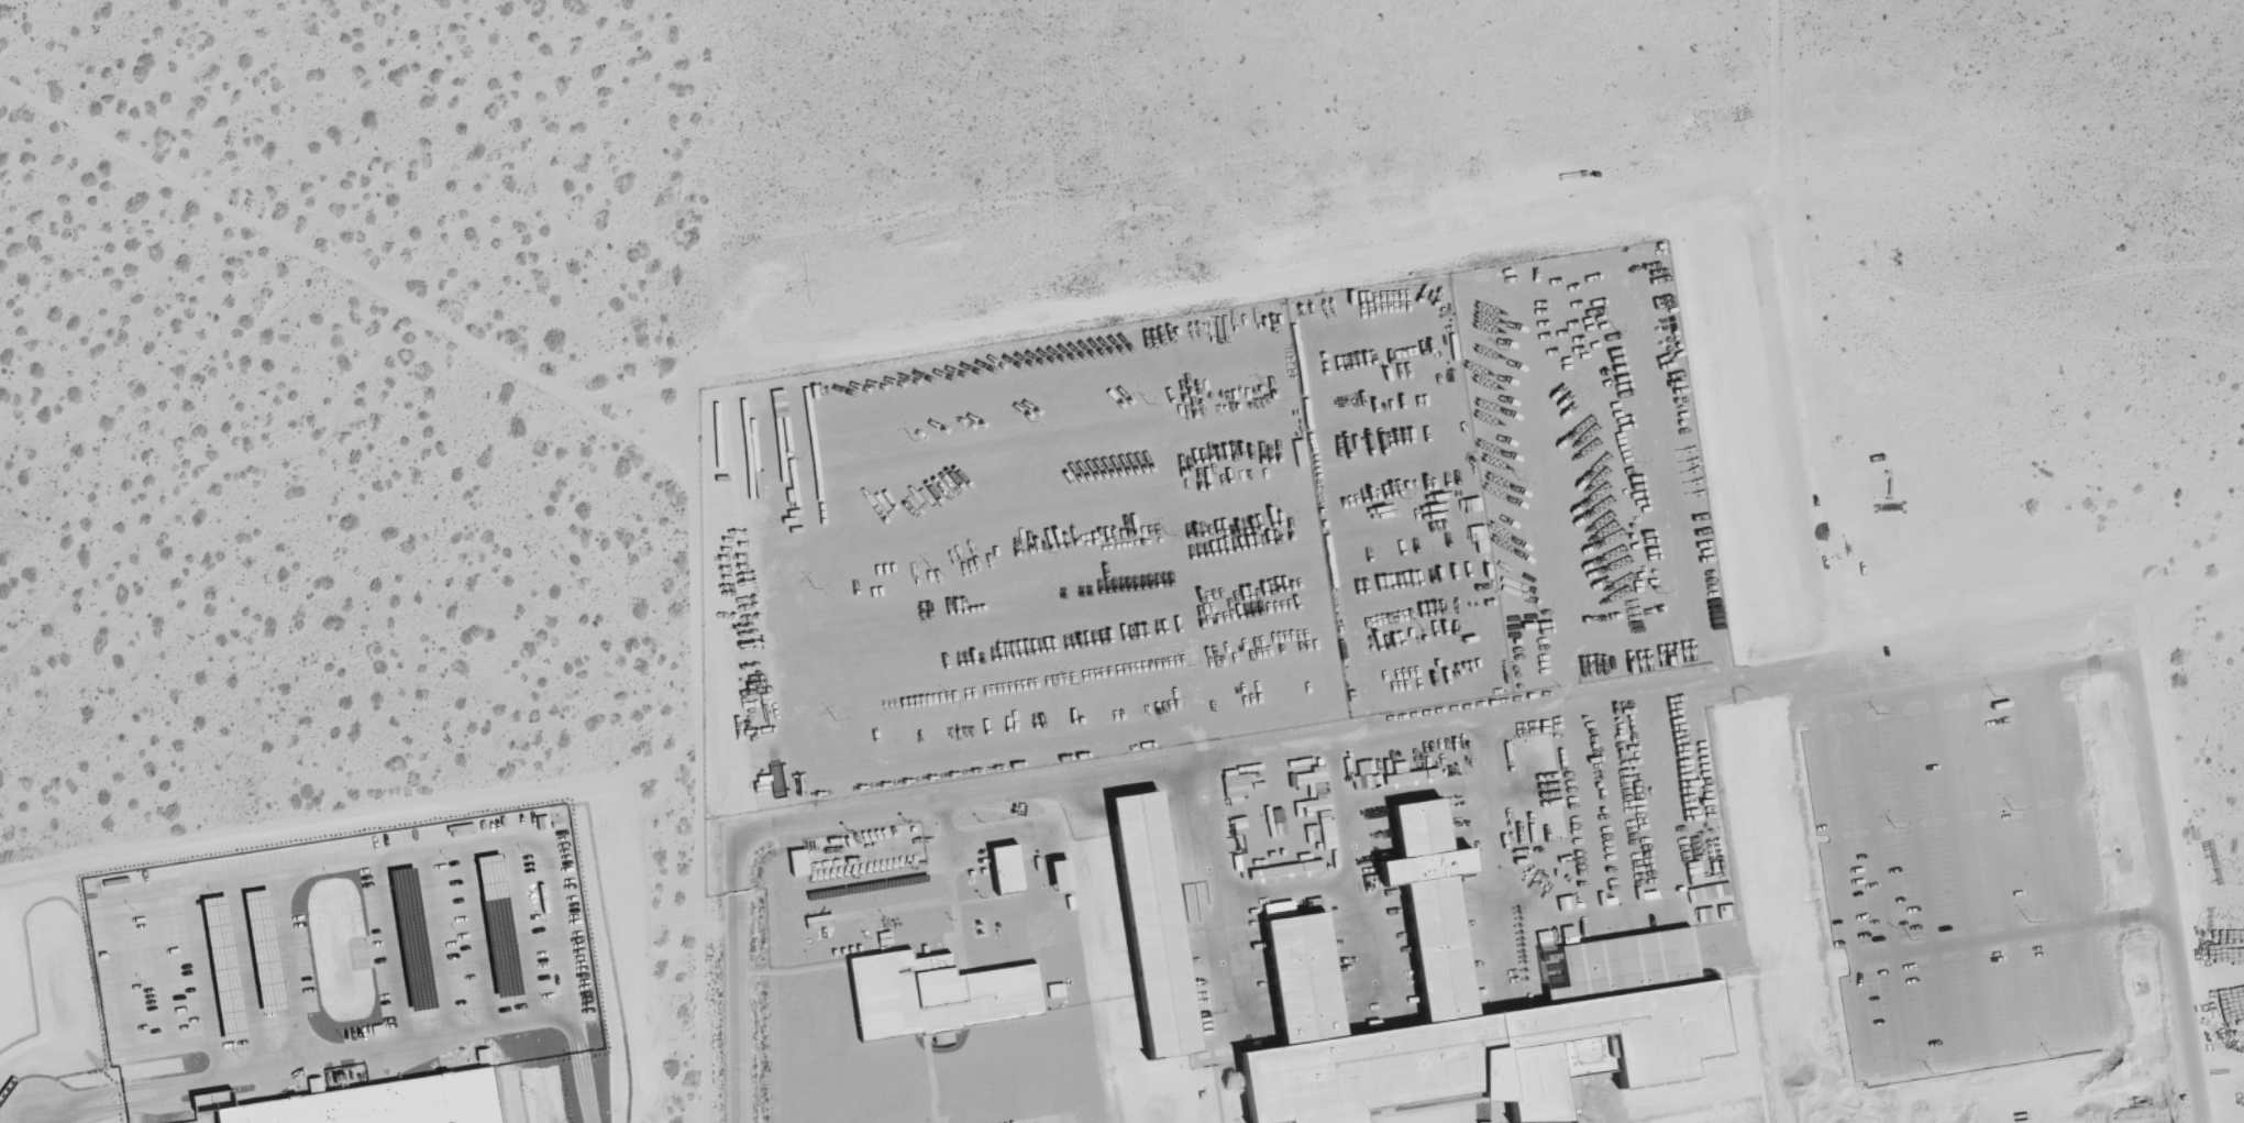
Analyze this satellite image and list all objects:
building: (799, 862)
building: (1007, 869)
building: (1061, 874)
building: (494, 888)
building: (1279, 910)
building: (1154, 924)
building: (937, 994)
building: (1472, 1011)
road: (356, 1050)
building: (484, 1055)
building: (378, 1103)
road: (2156, 1109)

